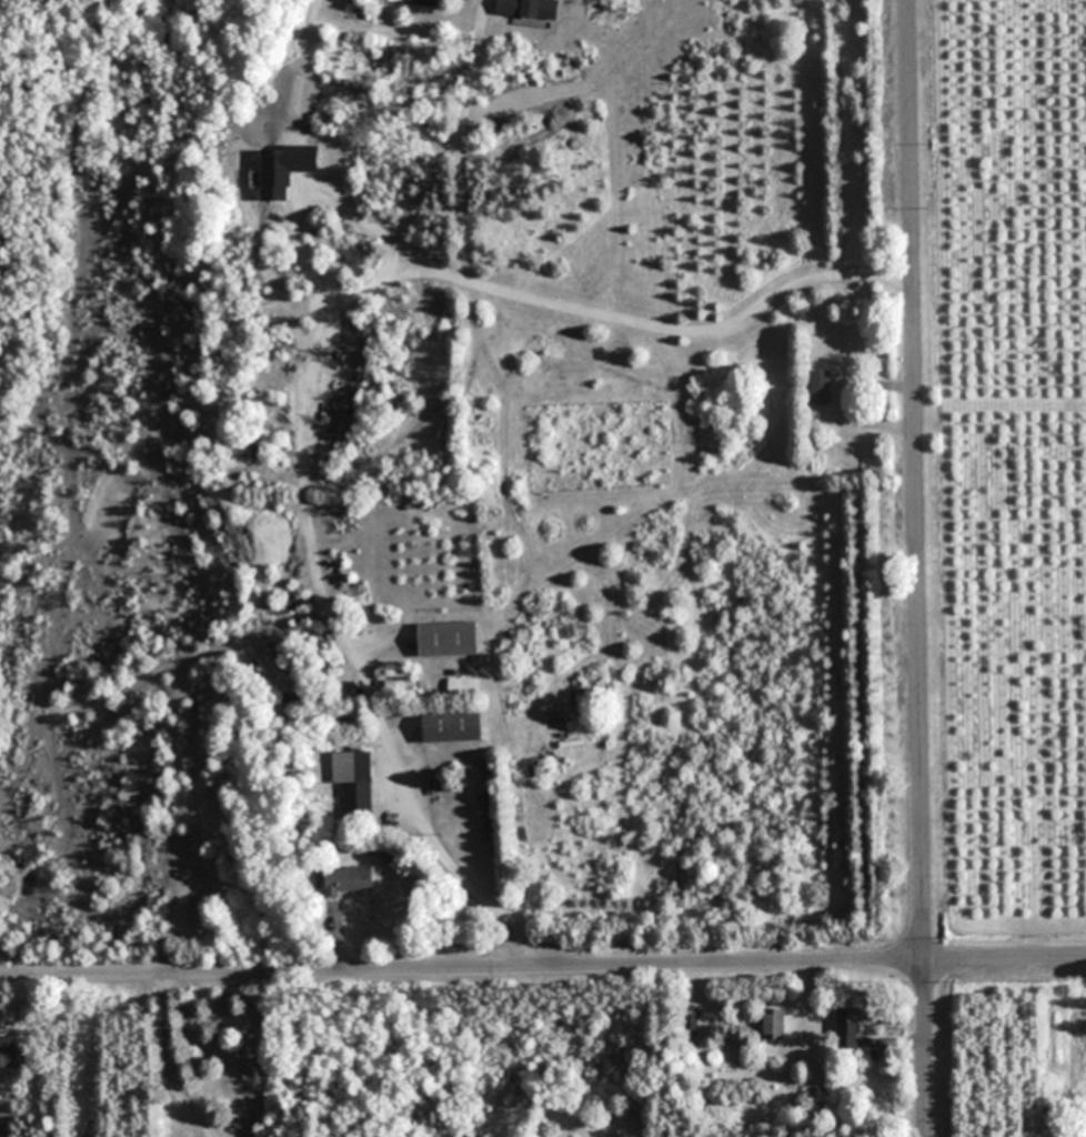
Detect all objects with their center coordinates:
building: (423, 1)
building: (527, 8)
road: (881, 383)
building: (819, 386)
road: (916, 567)
building: (445, 638)
building: (449, 724)
building: (353, 781)
building: (345, 878)
road: (481, 889)
road: (329, 934)
road: (543, 965)
building: (690, 1017)
building: (772, 1023)
building: (848, 1026)
building: (11, 1056)

